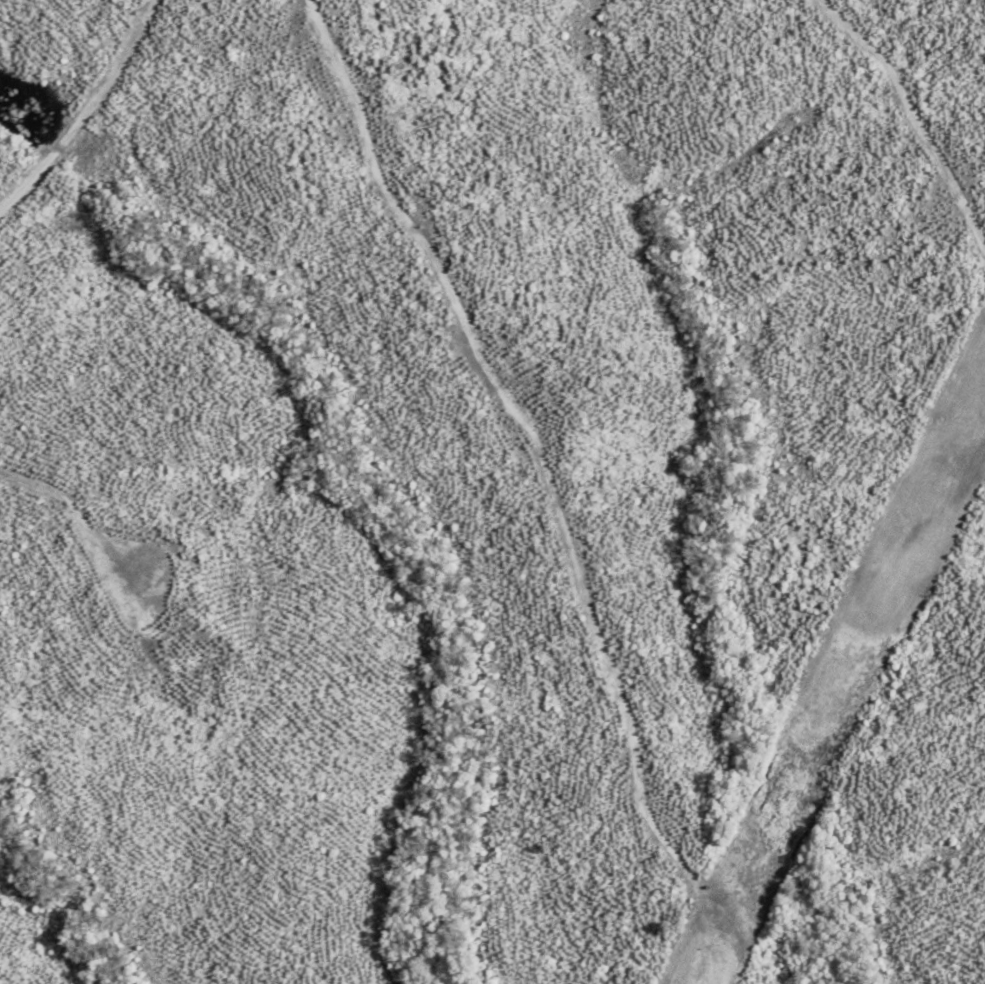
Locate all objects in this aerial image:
road: (41, 81)

